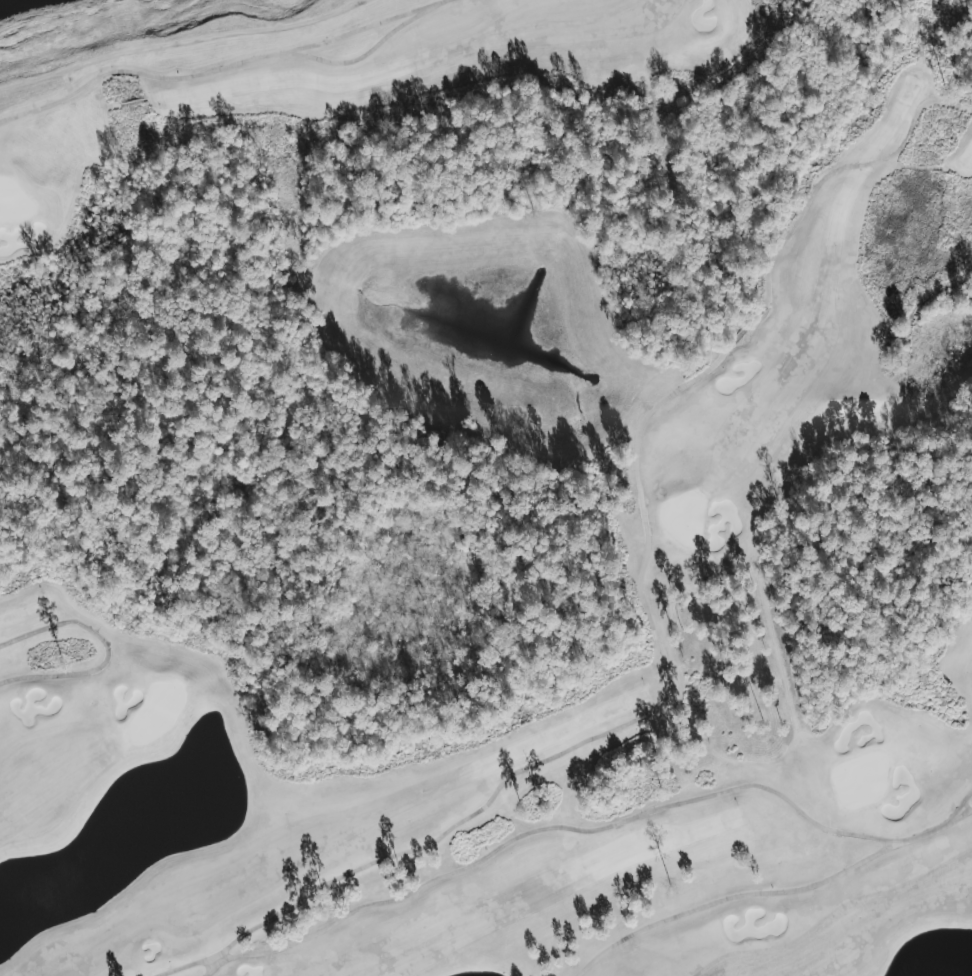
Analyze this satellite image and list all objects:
river: (25, 5)
park: (486, 488)
park: (491, 495)
road: (639, 585)
road: (971, 808)
road: (559, 833)
road: (772, 893)

